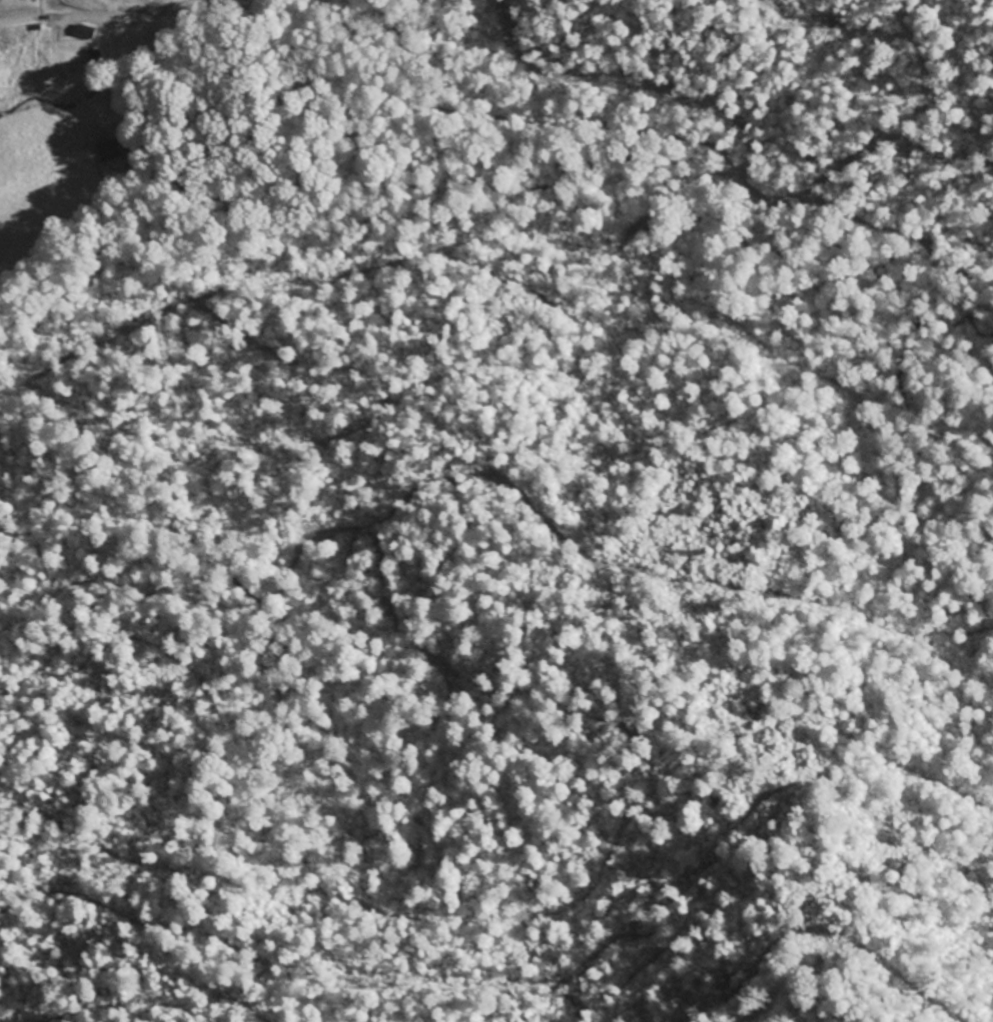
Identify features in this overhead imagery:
road: (105, 4)

